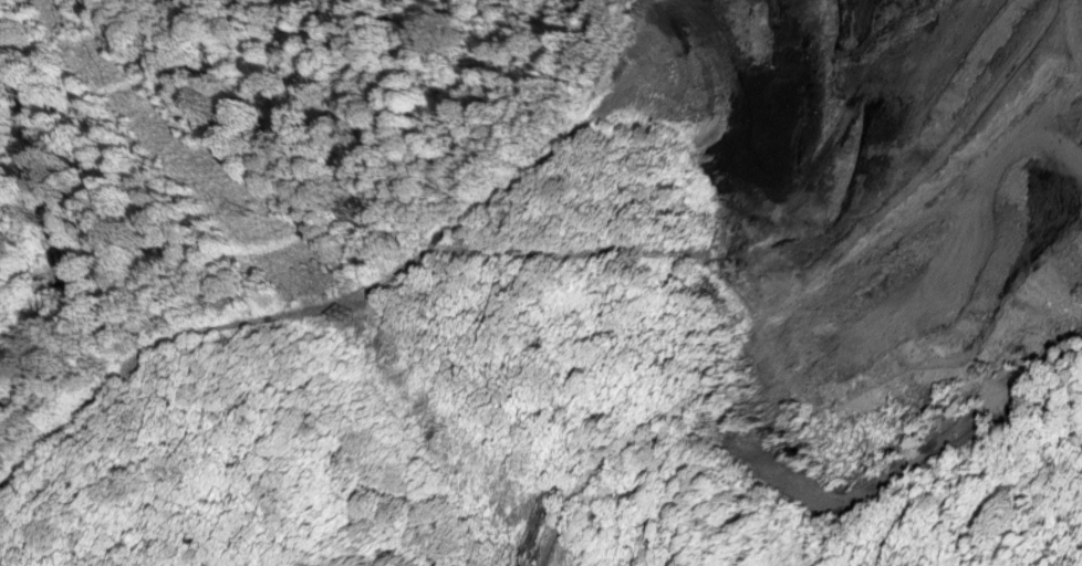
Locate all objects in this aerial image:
quarry: (871, 207)

